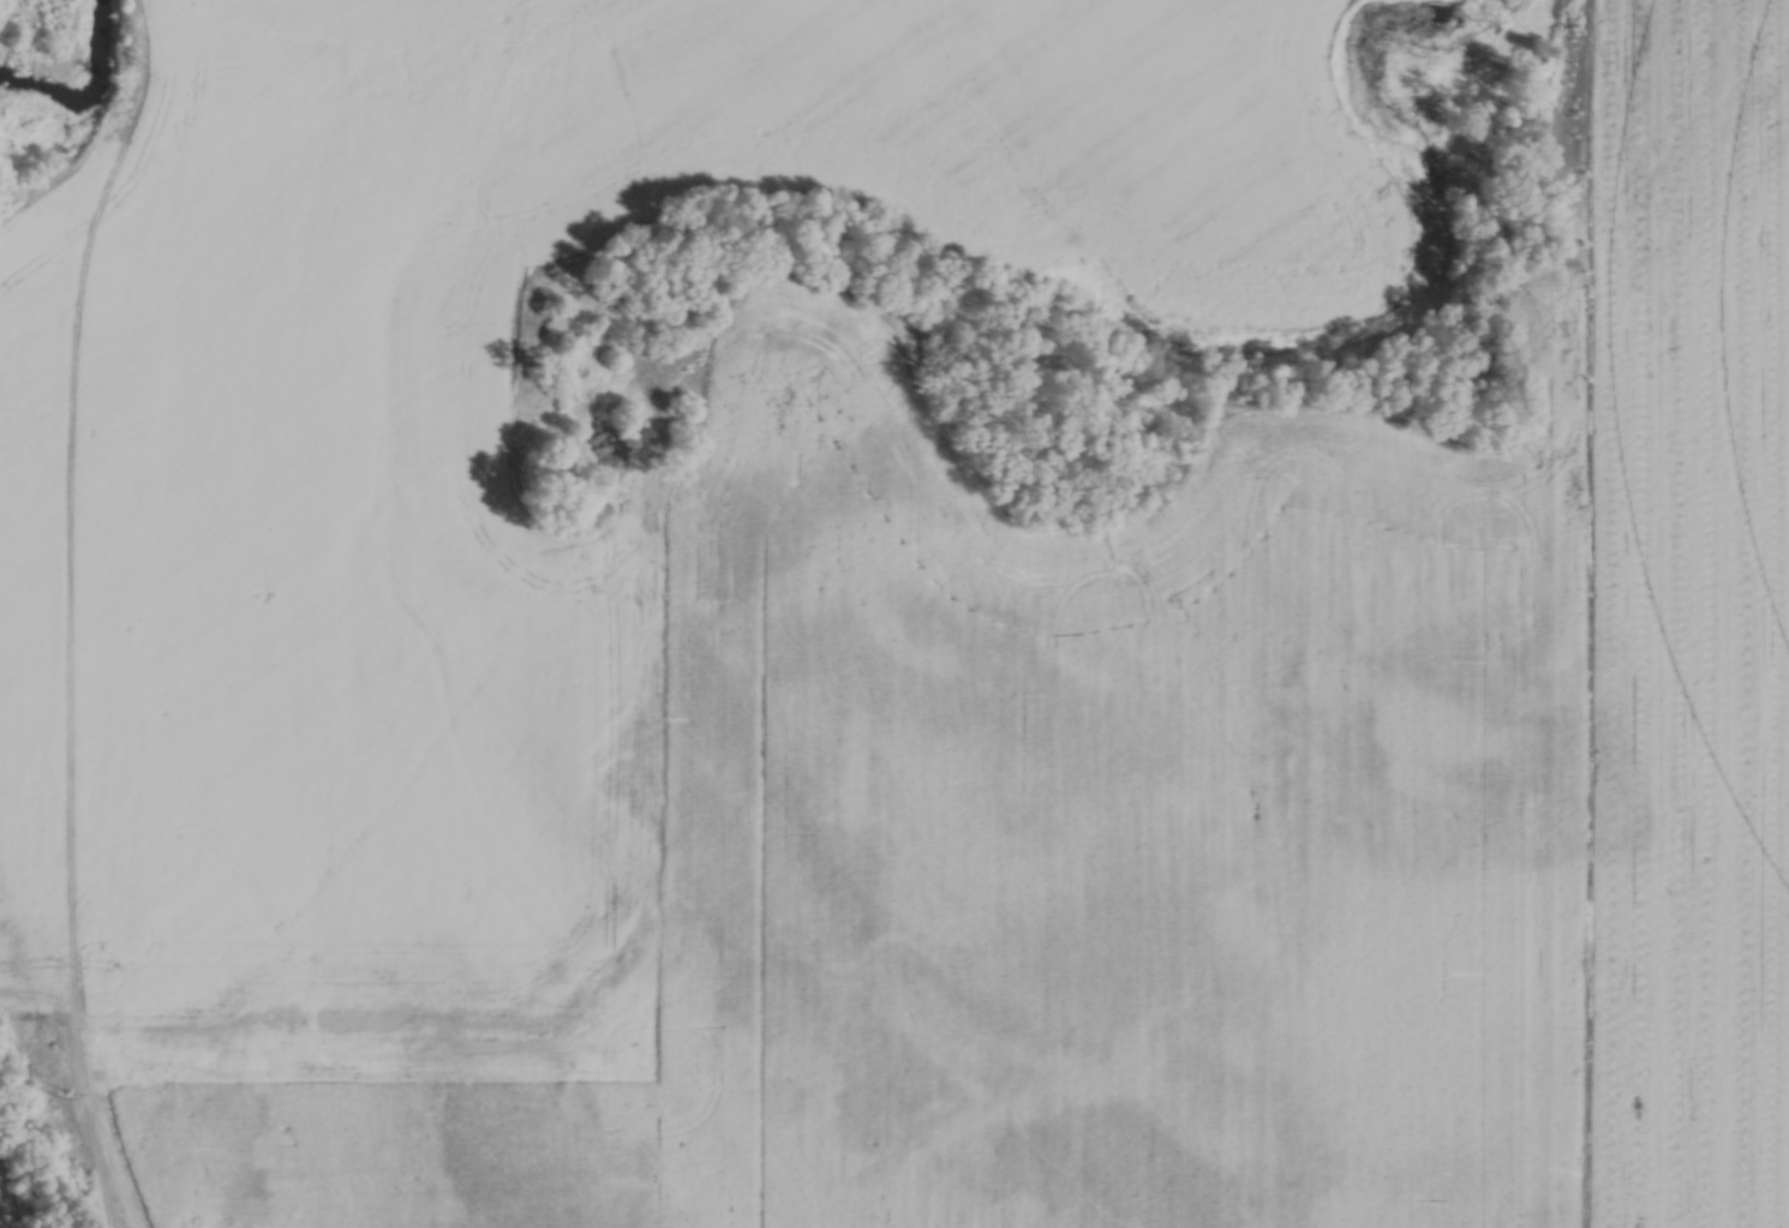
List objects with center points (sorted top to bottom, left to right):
power tower: (70, 1094)

